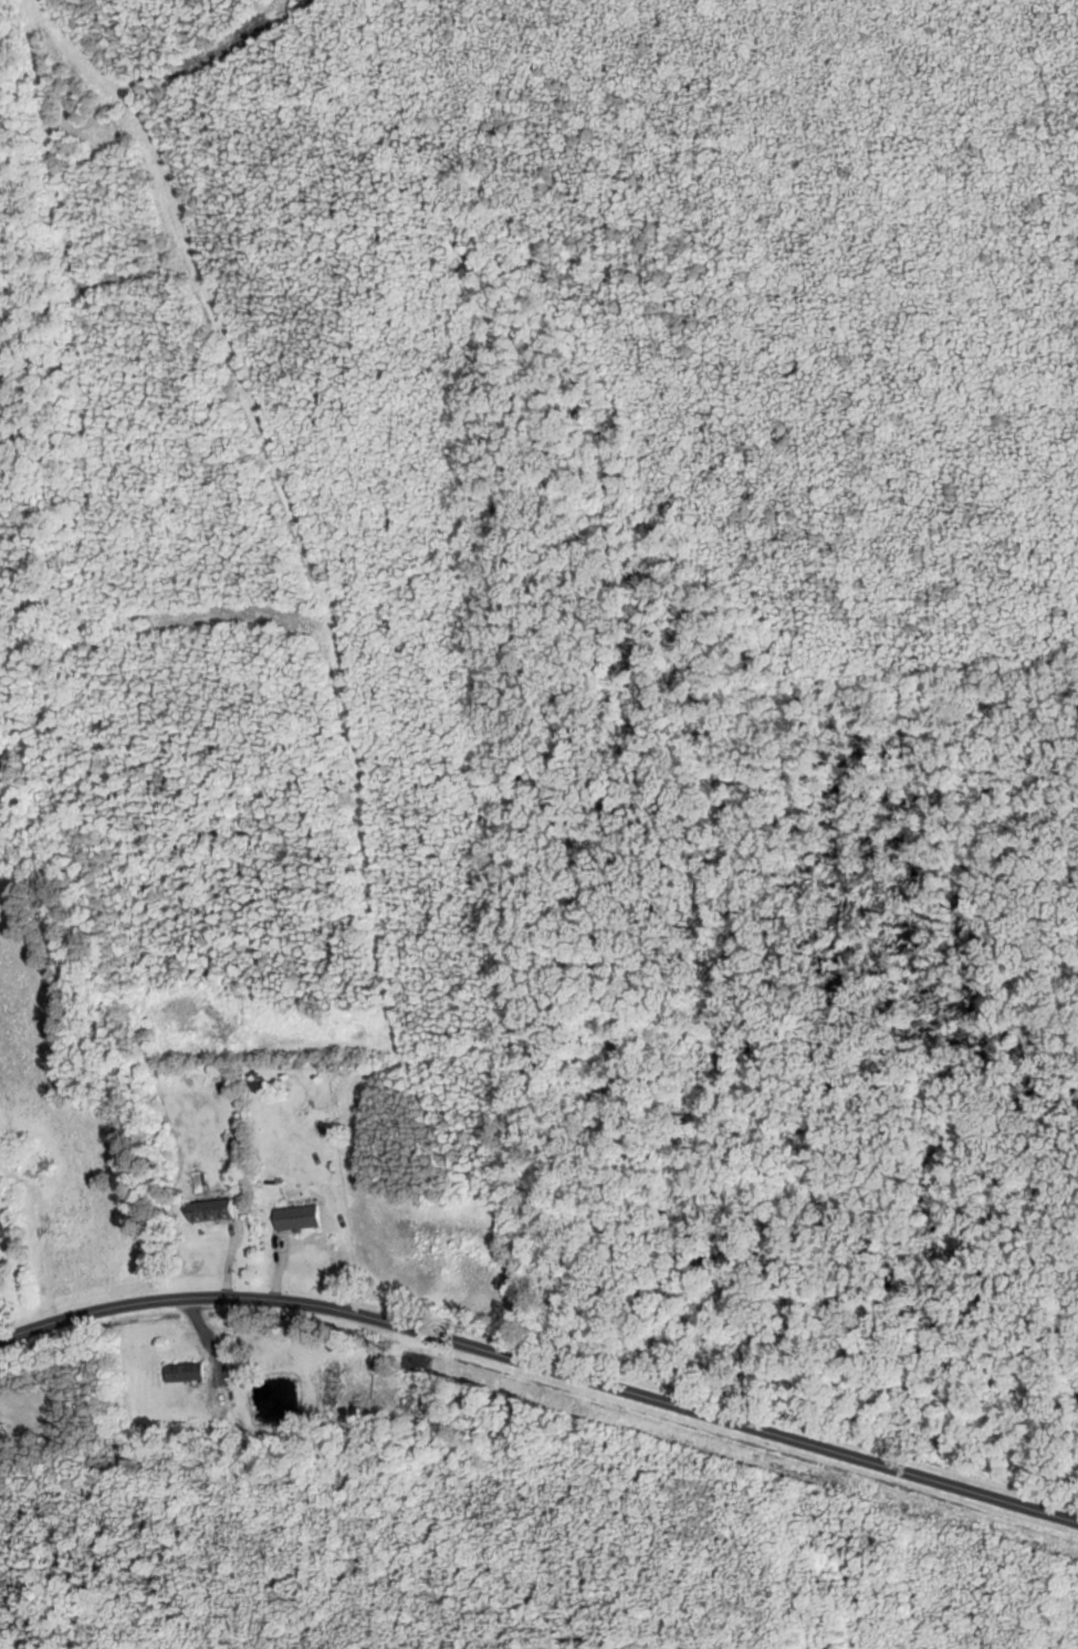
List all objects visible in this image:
building: (0, 1189)
building: (214, 1212)
building: (300, 1219)
building: (8, 1225)
road: (544, 1365)
building: (188, 1372)
building: (332, 1382)

